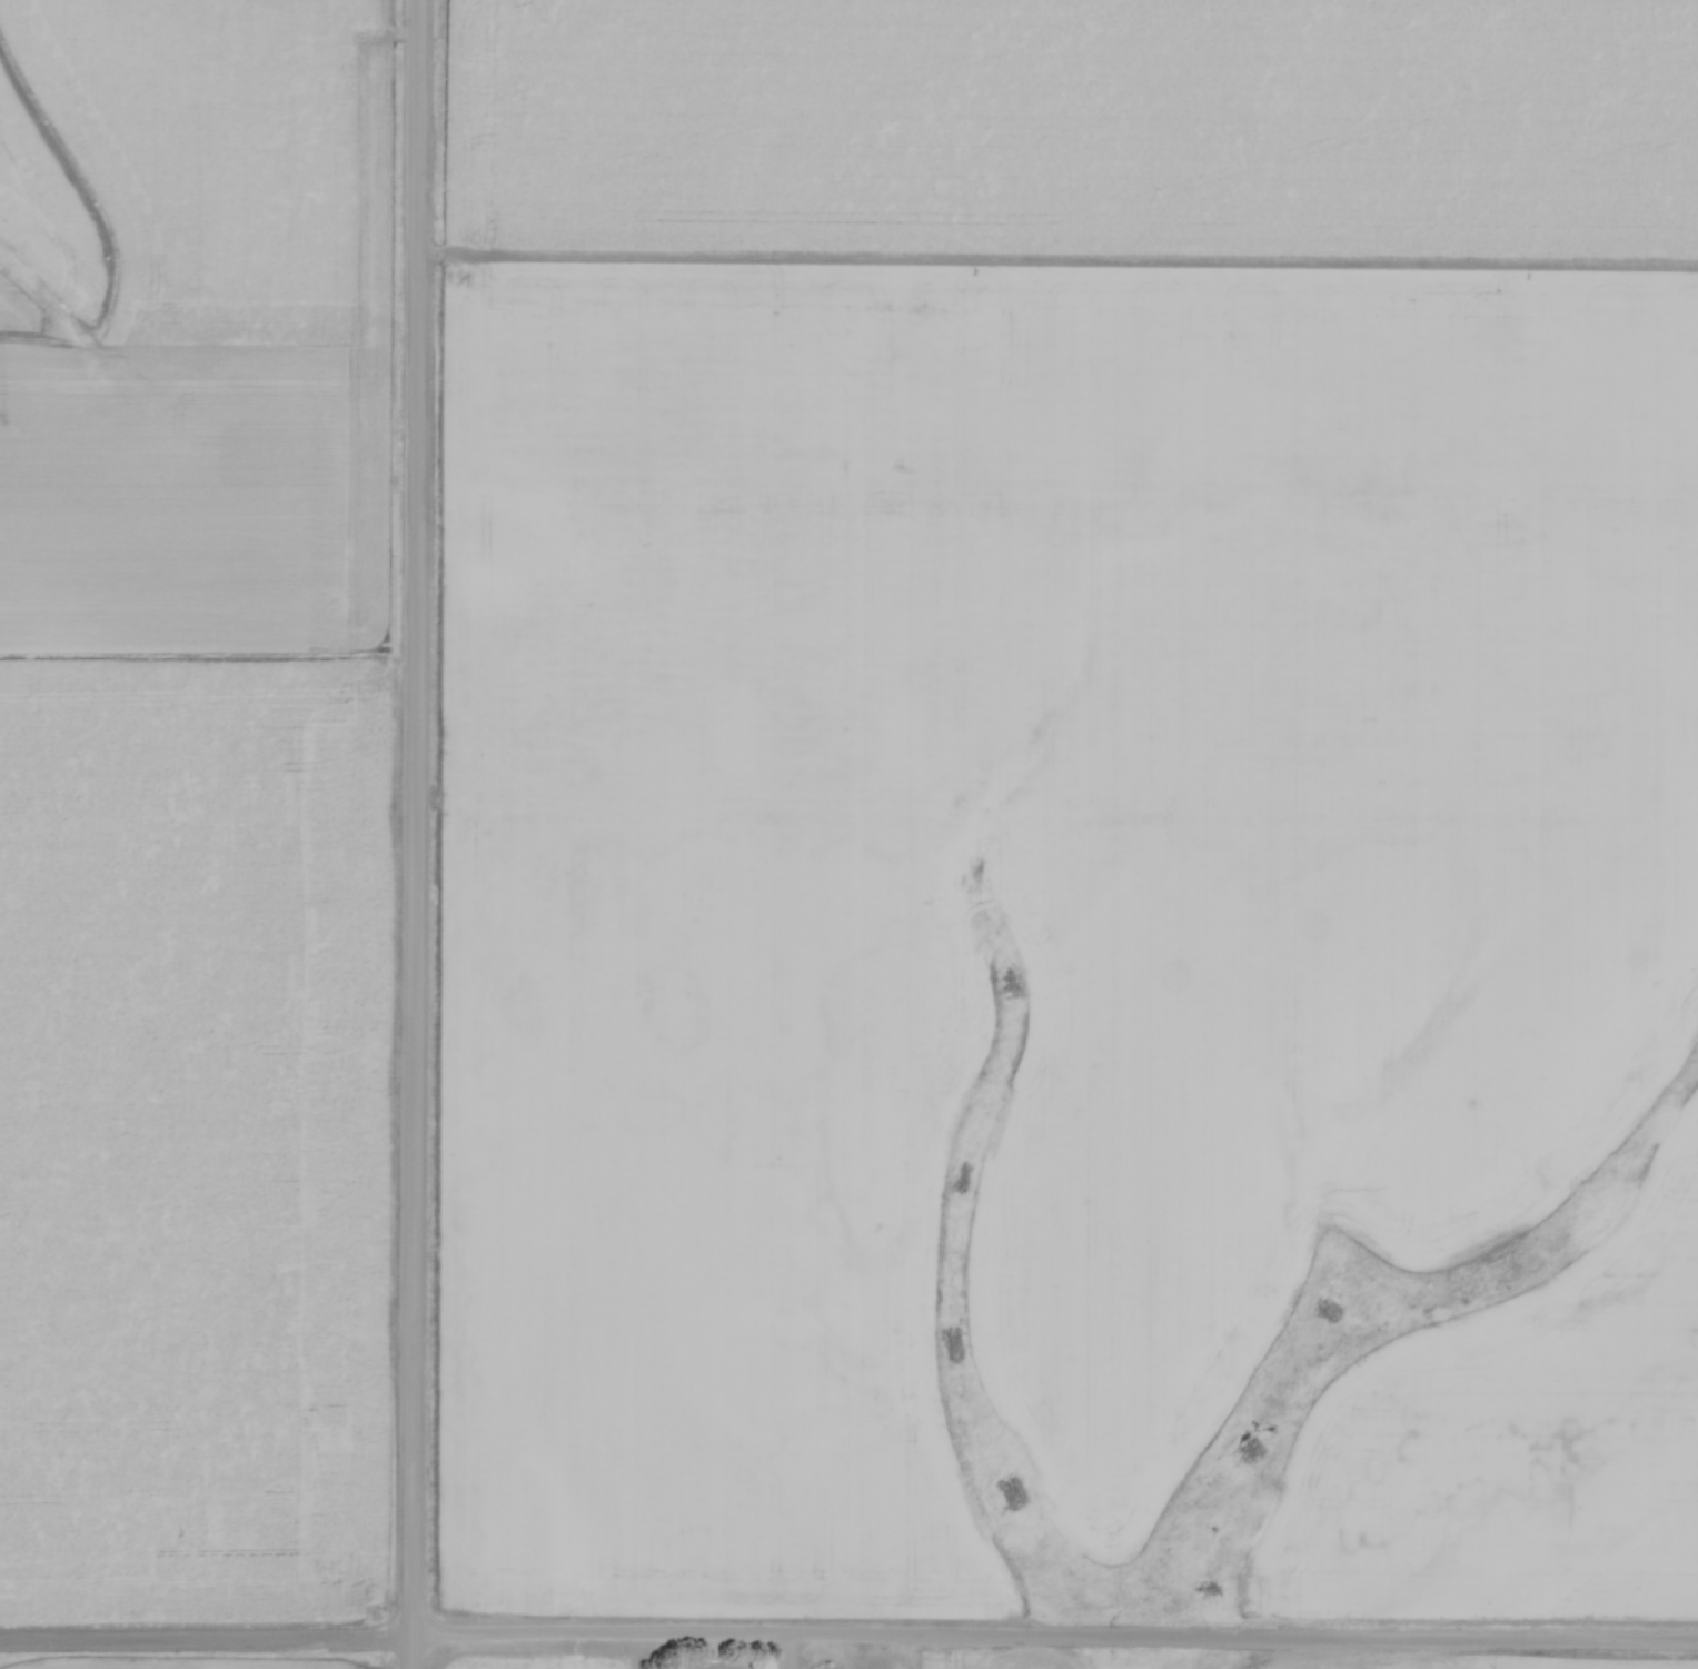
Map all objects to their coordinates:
road: (1056, 261)
road: (410, 834)
road: (848, 1633)
road: (784, 1651)

